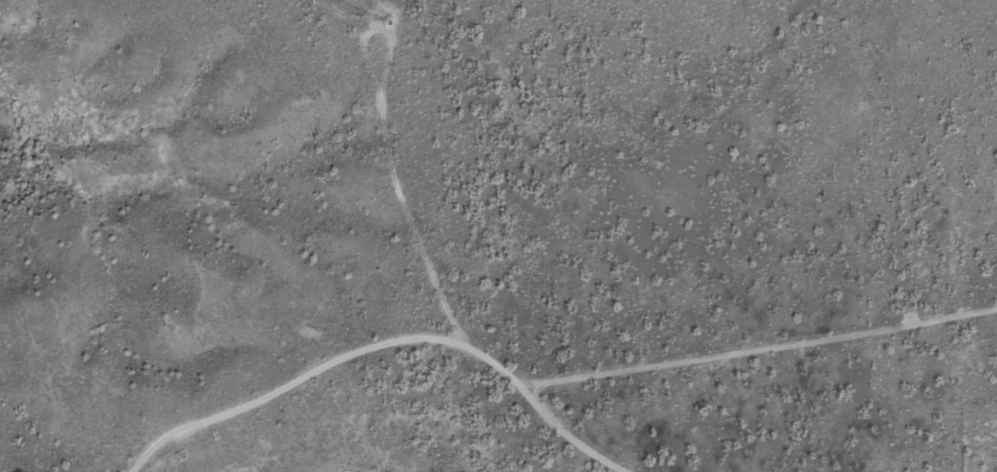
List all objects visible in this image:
road: (429, 265)
road: (765, 350)
road: (303, 379)

